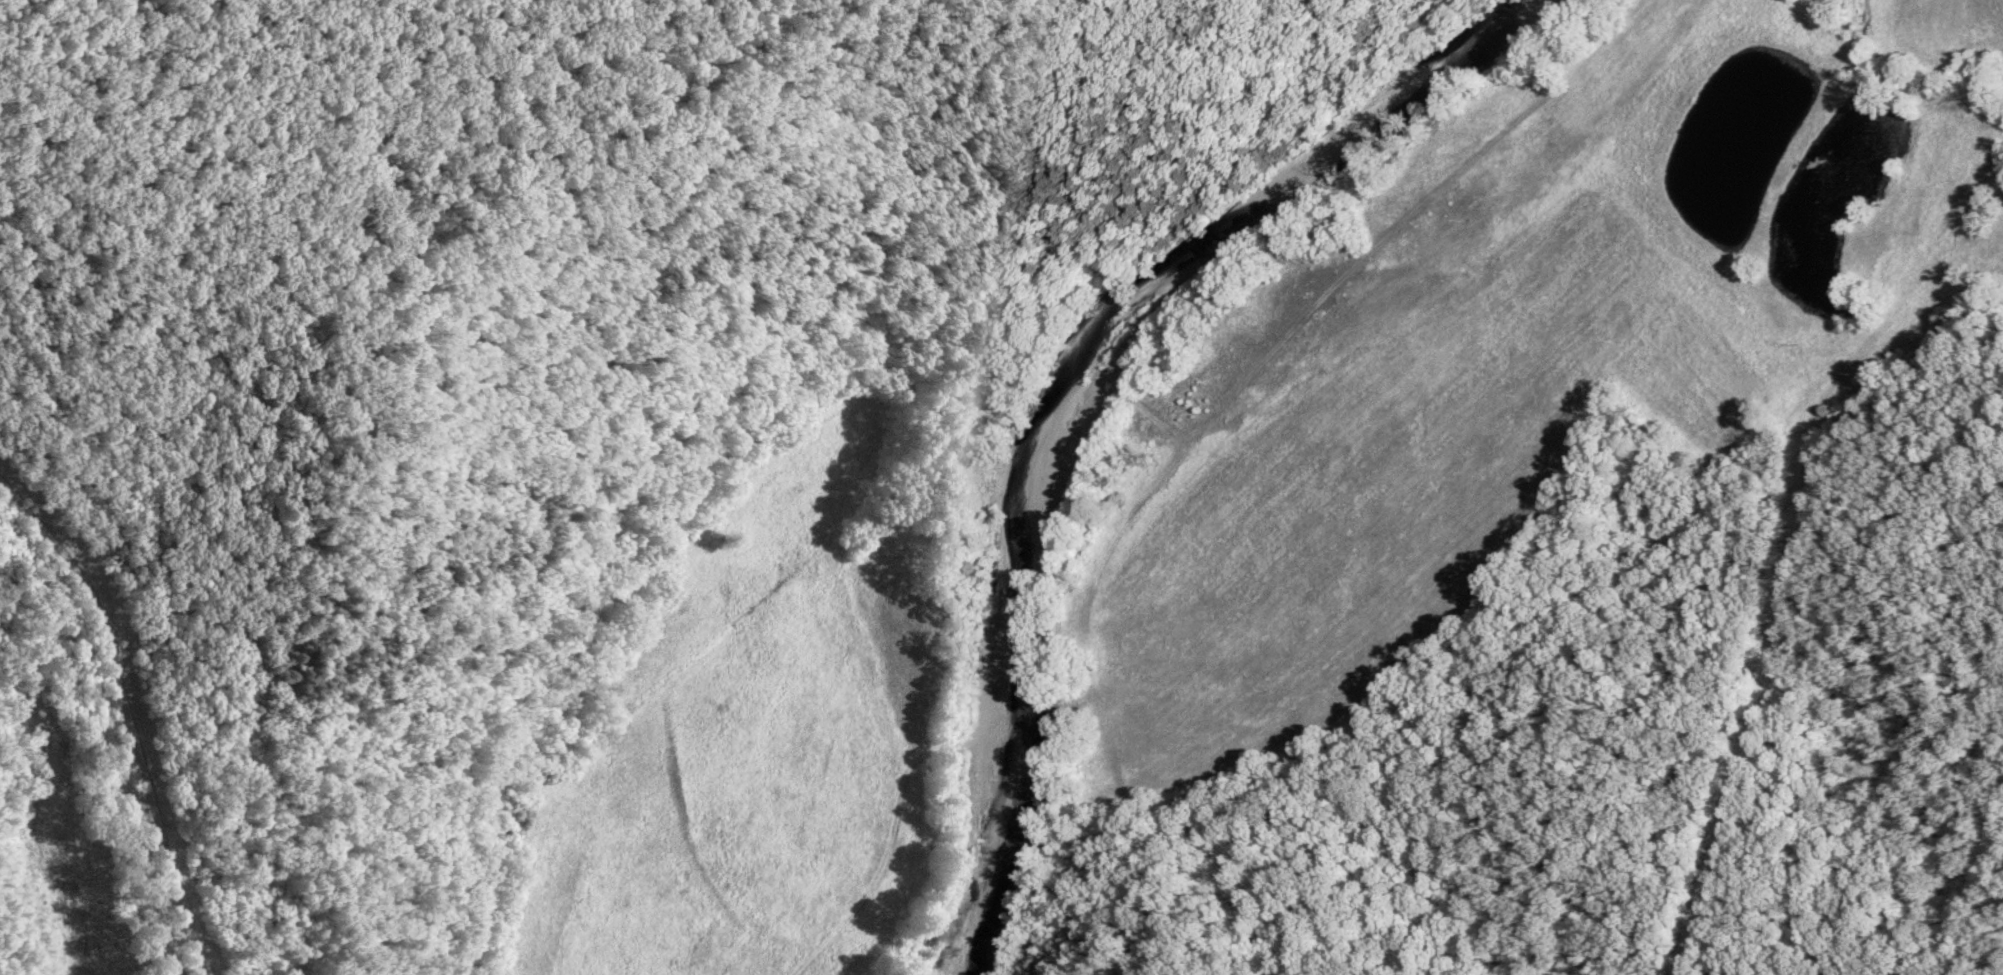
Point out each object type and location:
river: (1298, 206)
road: (130, 717)
road: (1020, 721)

